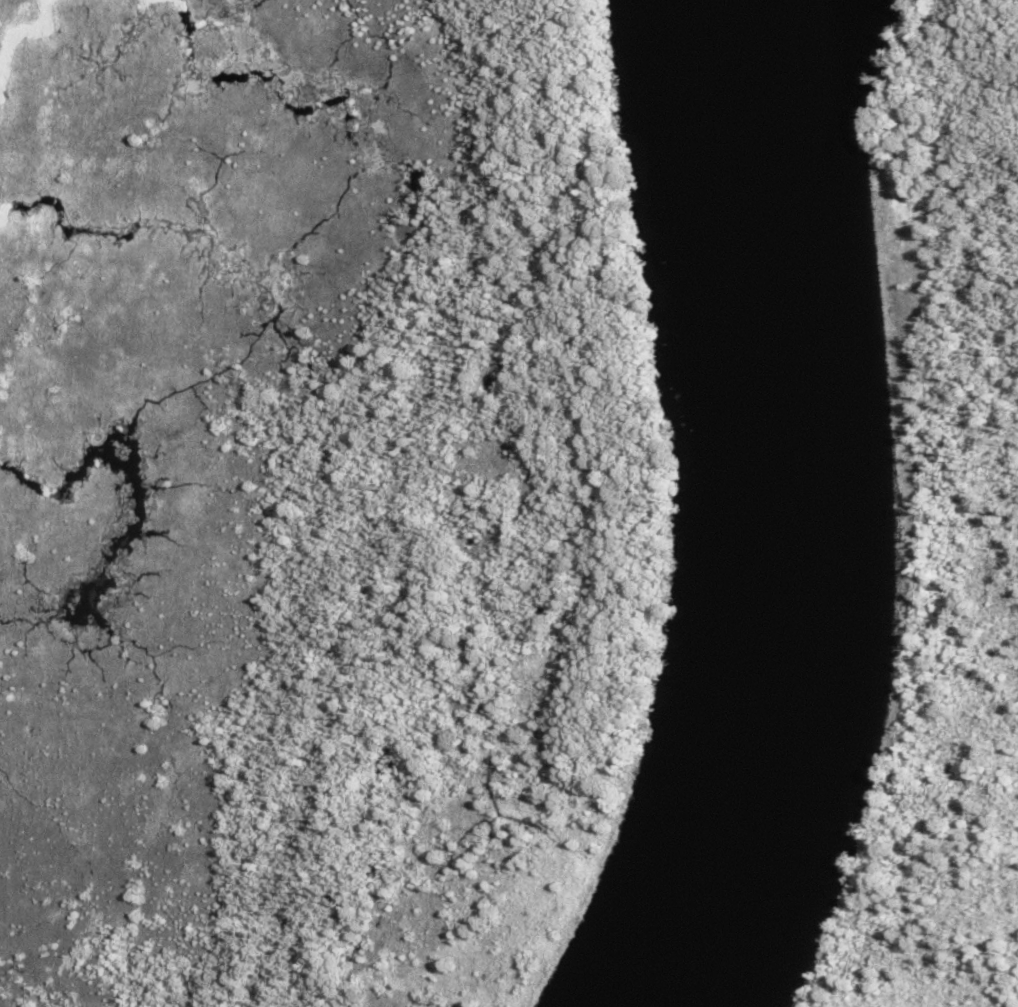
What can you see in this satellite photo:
river: (759, 513)

